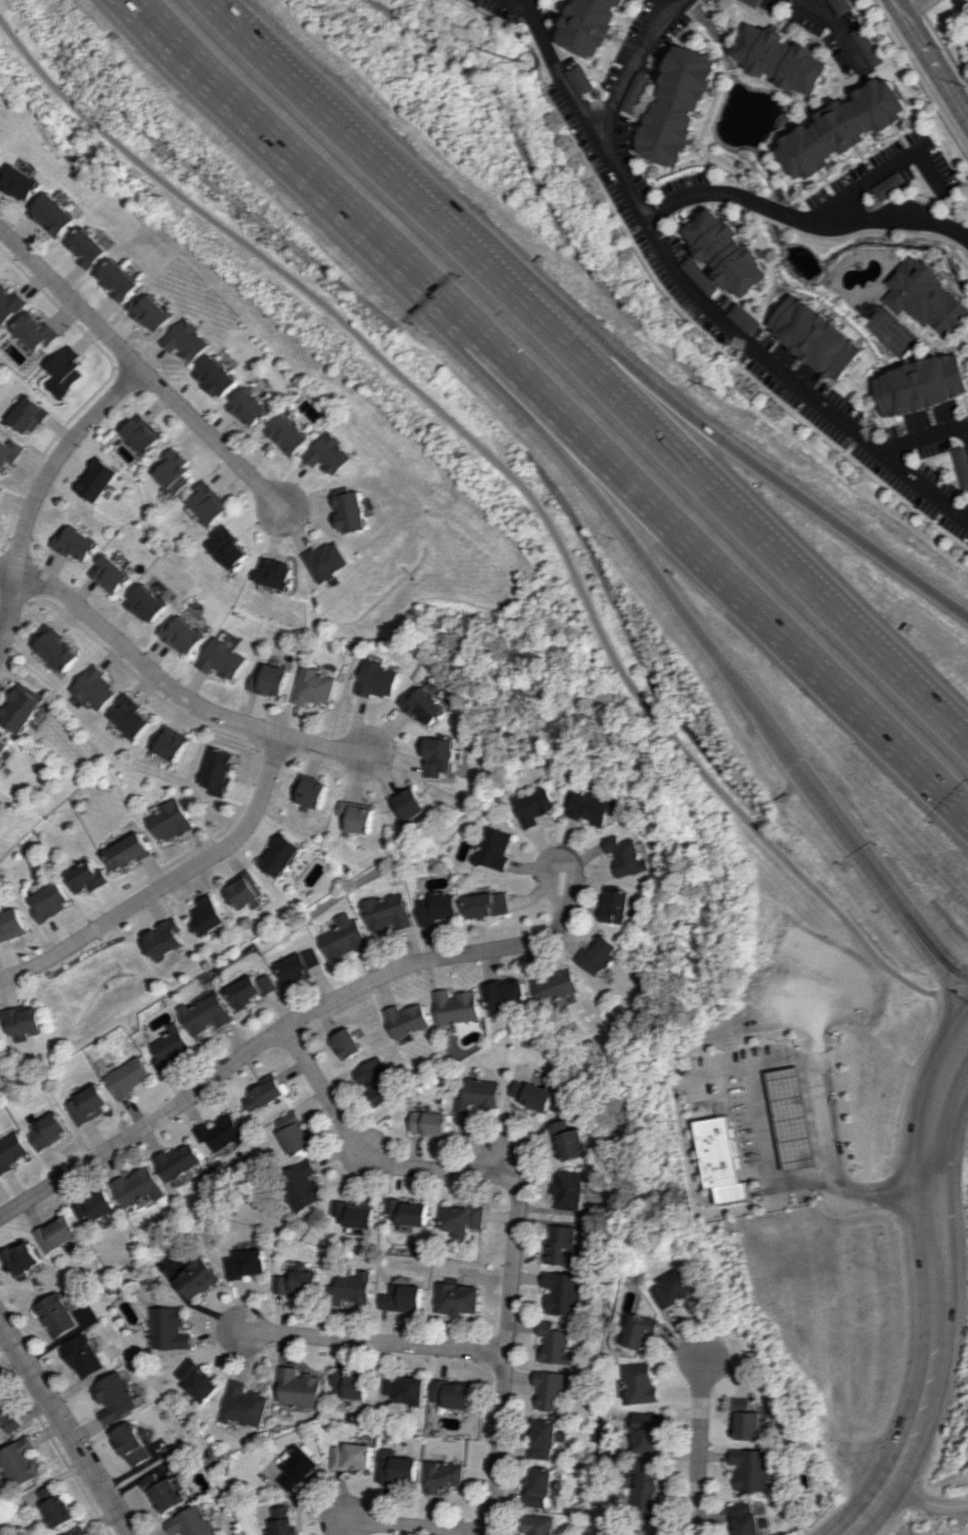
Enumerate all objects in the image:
building: (752, 2)
road: (807, 4)
building: (840, 6)
road: (893, 8)
road: (912, 8)
building: (594, 27)
road: (832, 34)
building: (865, 45)
building: (782, 60)
road: (636, 63)
power tower: (527, 64)
road: (555, 65)
road: (934, 67)
building: (581, 79)
building: (635, 92)
building: (678, 109)
building: (842, 128)
road: (349, 131)
road: (306, 156)
road: (880, 167)
building: (20, 183)
building: (887, 185)
building: (53, 215)
road: (799, 220)
building: (87, 248)
building: (727, 252)
building: (697, 276)
building: (118, 279)
building: (922, 297)
road: (69, 298)
building: (9, 304)
building: (151, 312)
building: (741, 318)
building: (36, 331)
building: (812, 336)
building: (186, 340)
road: (753, 350)
building: (67, 367)
building: (215, 376)
building: (920, 384)
power tower: (718, 395)
building: (248, 407)
building: (28, 415)
building: (142, 433)
road: (922, 433)
building: (287, 434)
road: (211, 439)
road: (725, 439)
building: (9, 452)
building: (328, 454)
building: (962, 465)
building: (174, 471)
building: (99, 480)
road: (41, 483)
building: (0, 489)
road: (526, 491)
building: (209, 502)
road: (725, 502)
building: (353, 512)
building: (75, 543)
building: (230, 547)
building: (328, 560)
road: (716, 561)
building: (277, 572)
building: (111, 574)
building: (147, 603)
building: (182, 635)
building: (57, 650)
road: (721, 652)
road: (135, 657)
building: (222, 659)
building: (269, 679)
building: (377, 679)
building: (313, 686)
building: (94, 688)
building: (423, 705)
building: (20, 707)
building: (130, 716)
building: (170, 743)
building: (2, 746)
road: (323, 747)
building: (439, 756)
building: (219, 770)
building: (309, 792)
building: (407, 803)
building: (533, 805)
building: (590, 807)
building: (356, 817)
building: (171, 820)
building: (493, 848)
building: (129, 851)
building: (281, 854)
building: (87, 877)
road: (169, 883)
building: (248, 892)
building: (49, 901)
building: (488, 904)
building: (617, 906)
building: (438, 907)
building: (386, 912)
building: (210, 915)
building: (10, 924)
building: (344, 937)
building: (167, 938)
building: (600, 955)
building: (300, 966)
building: (556, 985)
building: (252, 989)
building: (505, 994)
building: (457, 1006)
building: (207, 1013)
road: (295, 1019)
building: (408, 1019)
building: (21, 1020)
road: (816, 1024)
building: (348, 1043)
building: (171, 1047)
building: (129, 1077)
building: (378, 1081)
building: (268, 1093)
building: (479, 1094)
building: (532, 1094)
building: (88, 1104)
road: (948, 1104)
building: (792, 1118)
road: (761, 1121)
building: (431, 1123)
building: (49, 1130)
building: (297, 1133)
building: (225, 1134)
building: (569, 1141)
road: (362, 1149)
building: (12, 1151)
building: (181, 1160)
building: (724, 1160)
road: (832, 1163)
building: (303, 1185)
building: (141, 1186)
building: (572, 1188)
building: (98, 1206)
building: (411, 1211)
building: (358, 1213)
building: (465, 1219)
building: (59, 1233)
building: (563, 1244)
building: (23, 1257)
building: (248, 1263)
building: (197, 1277)
building: (298, 1280)
building: (676, 1287)
building: (353, 1288)
road: (932, 1291)
building: (567, 1292)
building: (403, 1298)
building: (458, 1298)
building: (58, 1315)
building: (168, 1328)
building: (643, 1331)
road: (506, 1338)
road: (371, 1341)
building: (558, 1343)
building: (84, 1356)
building: (196, 1380)
building: (642, 1384)
building: (349, 1385)
building: (297, 1388)
building: (405, 1388)
building: (554, 1388)
building: (452, 1394)
building: (116, 1397)
building: (241, 1404)
building: (7, 1415)
building: (745, 1420)
road: (65, 1428)
building: (648, 1431)
building: (549, 1438)
road: (697, 1442)
building: (132, 1444)
building: (351, 1456)
building: (20, 1462)
building: (297, 1468)
building: (397, 1468)
building: (750, 1469)
building: (446, 1475)
building: (542, 1486)
building: (165, 1491)
building: (648, 1491)
road: (926, 1502)
building: (57, 1507)
building: (746, 1519)
building: (191, 1522)
building: (282, 1522)
building: (540, 1524)
road: (416, 1526)
building: (79, 1531)

